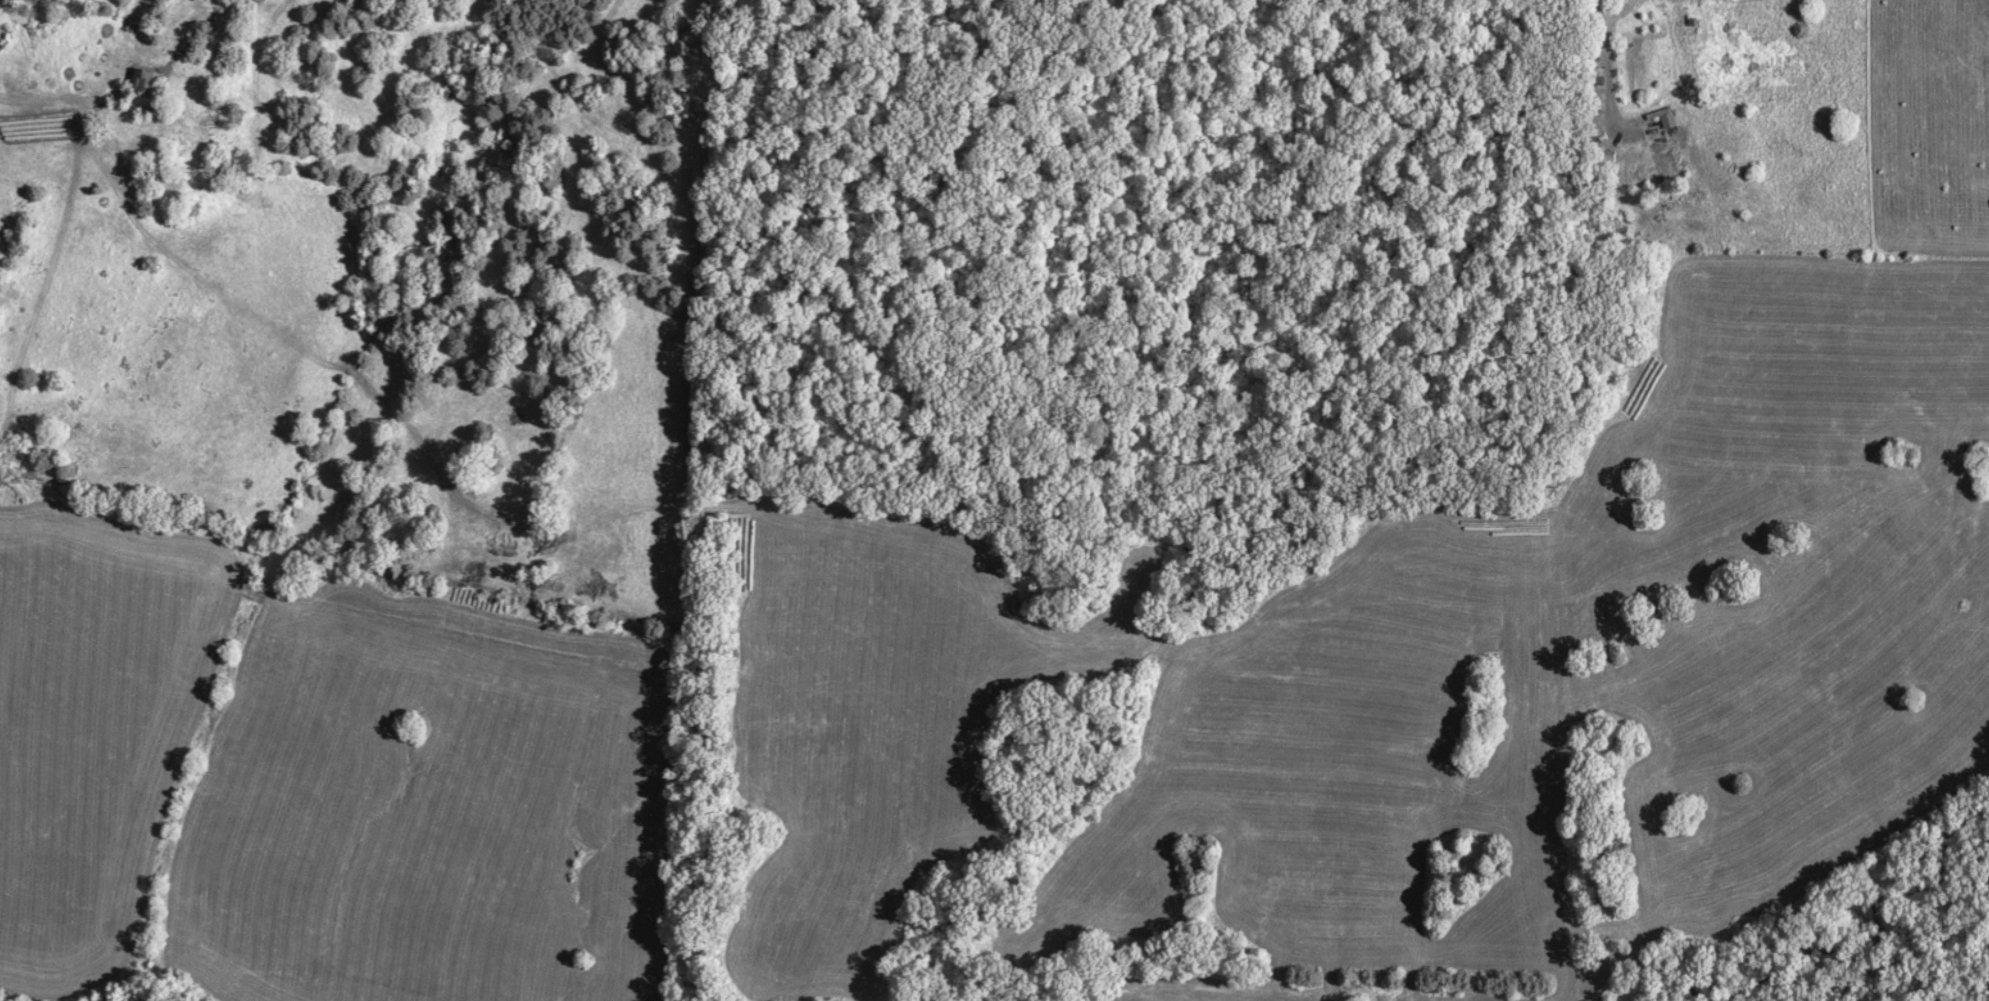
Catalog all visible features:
building: (1639, 60)
road: (1612, 67)
building: (1594, 82)
building: (144, 89)
building: (1661, 140)
crop: (1417, 692)
crop: (427, 810)

